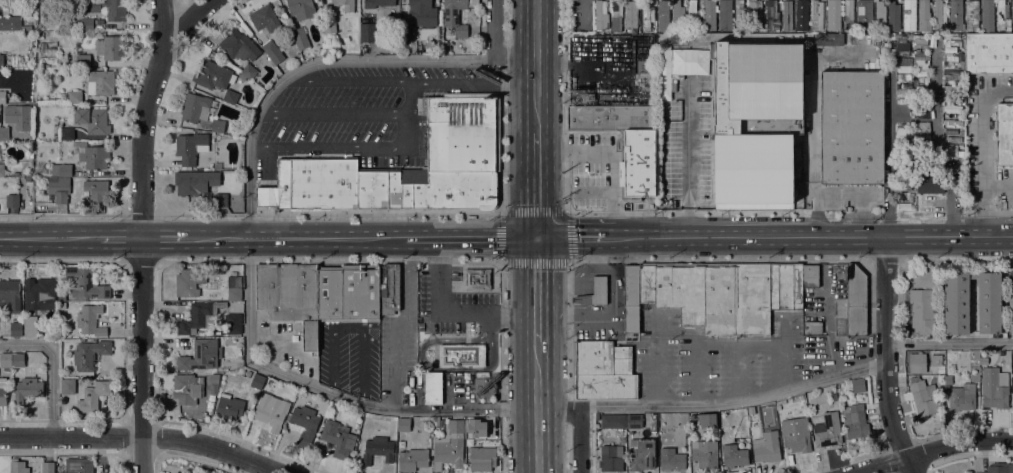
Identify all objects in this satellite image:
building: (376, 3)
building: (344, 4)
building: (300, 8)
building: (88, 9)
building: (648, 11)
building: (661, 11)
building: (422, 12)
building: (755, 12)
building: (864, 13)
building: (1001, 13)
building: (630, 14)
building: (739, 14)
building: (816, 14)
building: (456, 15)
building: (600, 15)
building: (709, 15)
building: (723, 15)
building: (787, 15)
building: (833, 15)
building: (848, 15)
building: (893, 15)
building: (909, 15)
building: (924, 15)
building: (939, 15)
building: (955, 15)
building: (971, 15)
building: (1012, 15)
building: (616, 16)
building: (694, 16)
building: (771, 16)
building: (801, 16)
building: (987, 16)
building: (677, 17)
building: (879, 17)
building: (264, 19)
road: (186, 22)
building: (10, 23)
building: (86, 24)
building: (328, 26)
building: (405, 30)
building: (368, 32)
building: (606, 32)
building: (885, 36)
building: (299, 38)
building: (238, 45)
building: (109, 47)
road: (494, 48)
building: (272, 52)
building: (988, 53)
building: (919, 55)
building: (3, 59)
building: (83, 61)
building: (688, 61)
building: (919, 65)
road: (536, 66)
road: (303, 67)
building: (903, 68)
building: (655, 70)
building: (248, 71)
building: (920, 74)
building: (952, 74)
building: (212, 75)
building: (100, 82)
road: (409, 82)
building: (914, 82)
building: (960, 85)
building: (919, 88)
building: (949, 90)
building: (903, 94)
building: (230, 96)
building: (2, 97)
building: (74, 97)
building: (2, 108)
building: (194, 108)
building: (921, 111)
road: (332, 112)
road: (408, 113)
building: (608, 116)
road: (142, 117)
building: (92, 120)
building: (756, 120)
building: (217, 126)
building: (851, 127)
building: (951, 130)
building: (67, 133)
building: (4, 134)
building: (1004, 134)
building: (921, 135)
building: (463, 136)
road: (813, 143)
road: (328, 144)
building: (190, 147)
road: (935, 149)
building: (953, 151)
road: (986, 153)
building: (91, 155)
road: (612, 155)
road: (890, 155)
building: (638, 161)
road: (684, 161)
building: (217, 166)
road: (563, 166)
building: (1, 170)
building: (61, 170)
building: (28, 178)
building: (929, 180)
building: (195, 182)
road: (536, 184)
building: (904, 184)
road: (999, 187)
building: (59, 189)
building: (97, 191)
building: (12, 200)
building: (220, 200)
road: (999, 212)
road: (405, 214)
road: (862, 214)
road: (565, 215)
road: (808, 236)
road: (570, 237)
road: (125, 238)
road: (393, 238)
traffic signals: (536, 238)
road: (718, 259)
road: (884, 259)
road: (957, 259)
road: (63, 262)
road: (140, 262)
road: (328, 262)
building: (810, 275)
building: (972, 275)
road: (536, 278)
building: (476, 279)
building: (924, 279)
building: (1010, 279)
building: (84, 283)
building: (185, 284)
building: (655, 285)
building: (785, 286)
building: (234, 288)
building: (388, 289)
building: (594, 292)
building: (39, 293)
building: (348, 293)
building: (688, 293)
building: (10, 295)
building: (290, 297)
building: (631, 297)
building: (61, 300)
building: (736, 300)
road: (901, 301)
building: (988, 302)
building: (956, 303)
building: (851, 304)
building: (1010, 310)
building: (922, 311)
road: (450, 313)
building: (199, 317)
road: (595, 318)
building: (89, 320)
building: (233, 323)
building: (29, 326)
building: (812, 327)
building: (15, 329)
road: (569, 329)
road: (536, 330)
road: (949, 342)
building: (89, 355)
road: (140, 355)
building: (200, 355)
building: (461, 355)
road: (885, 356)
building: (6, 360)
building: (18, 360)
building: (935, 360)
building: (917, 362)
road: (51, 367)
building: (603, 370)
building: (248, 374)
building: (213, 378)
building: (948, 380)
building: (257, 381)
building: (858, 385)
building: (483, 387)
building: (184, 388)
building: (432, 388)
building: (994, 388)
building: (29, 390)
building: (1012, 390)
building: (3, 391)
road: (330, 392)
building: (85, 394)
building: (923, 397)
building: (962, 397)
road: (732, 400)
building: (228, 407)
road: (536, 407)
road: (568, 410)
building: (63, 411)
building: (269, 416)
building: (597, 416)
building: (660, 416)
building: (779, 417)
road: (578, 420)
building: (703, 420)
building: (613, 421)
building: (633, 421)
building: (855, 421)
building: (304, 424)
building: (403, 424)
building: (471, 426)
building: (826, 429)
road: (142, 436)
building: (336, 438)
building: (796, 438)
road: (591, 439)
building: (449, 445)
building: (766, 447)
building: (377, 449)
road: (928, 450)
building: (641, 454)
building: (703, 454)
building: (733, 456)
building: (350, 457)
building: (610, 458)
building: (412, 459)
building: (671, 459)
building: (482, 460)
building: (78, 465)
building: (17, 466)
building: (47, 467)
building: (998, 468)

